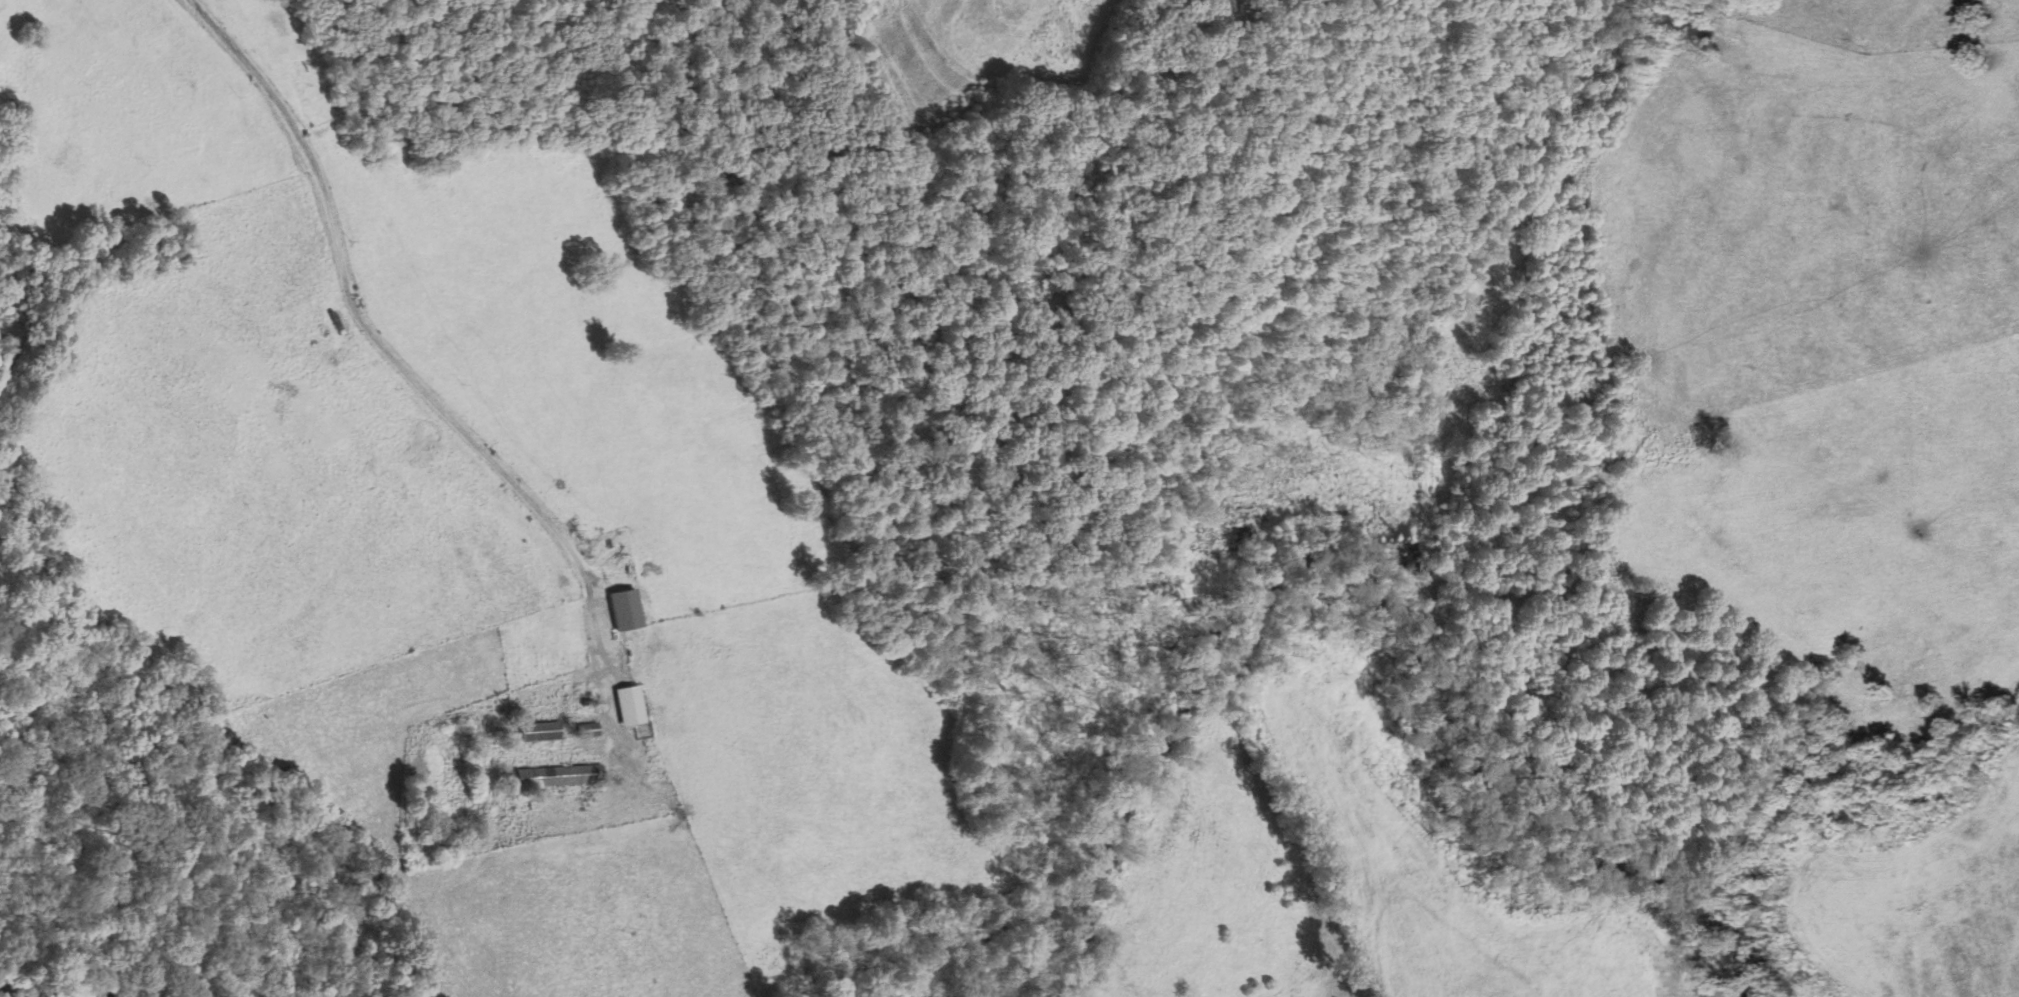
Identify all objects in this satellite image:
building: (1224, 6)
road: (363, 326)
building: (627, 612)
building: (585, 730)
building: (538, 731)
building: (557, 775)

